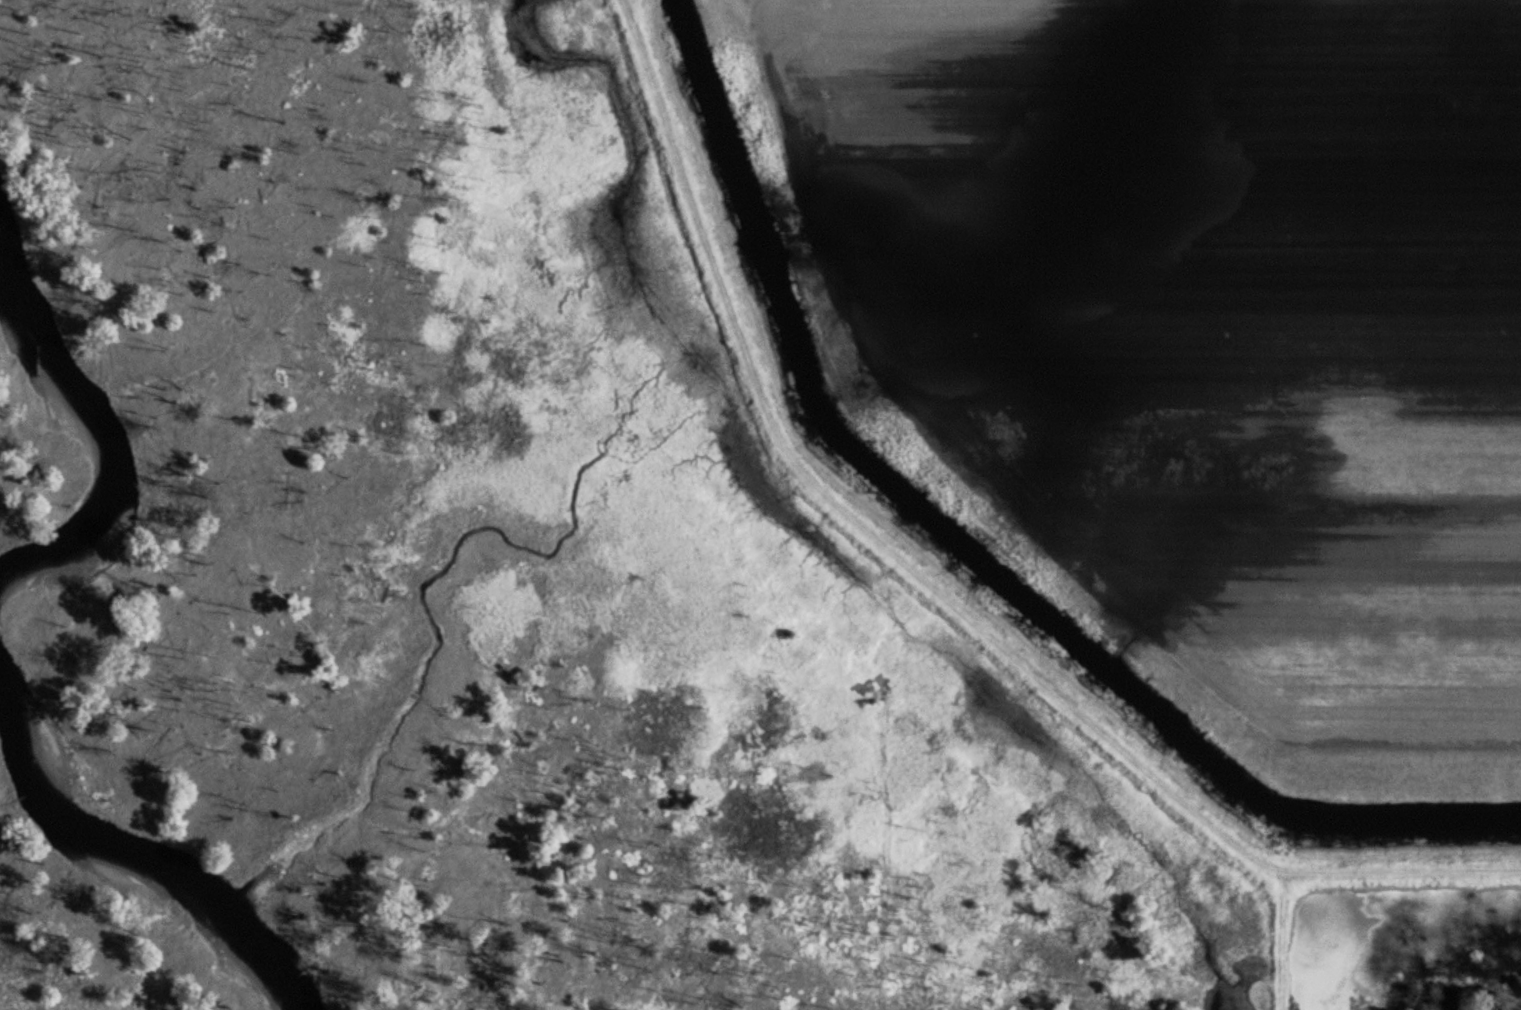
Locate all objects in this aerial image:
road: (908, 544)

